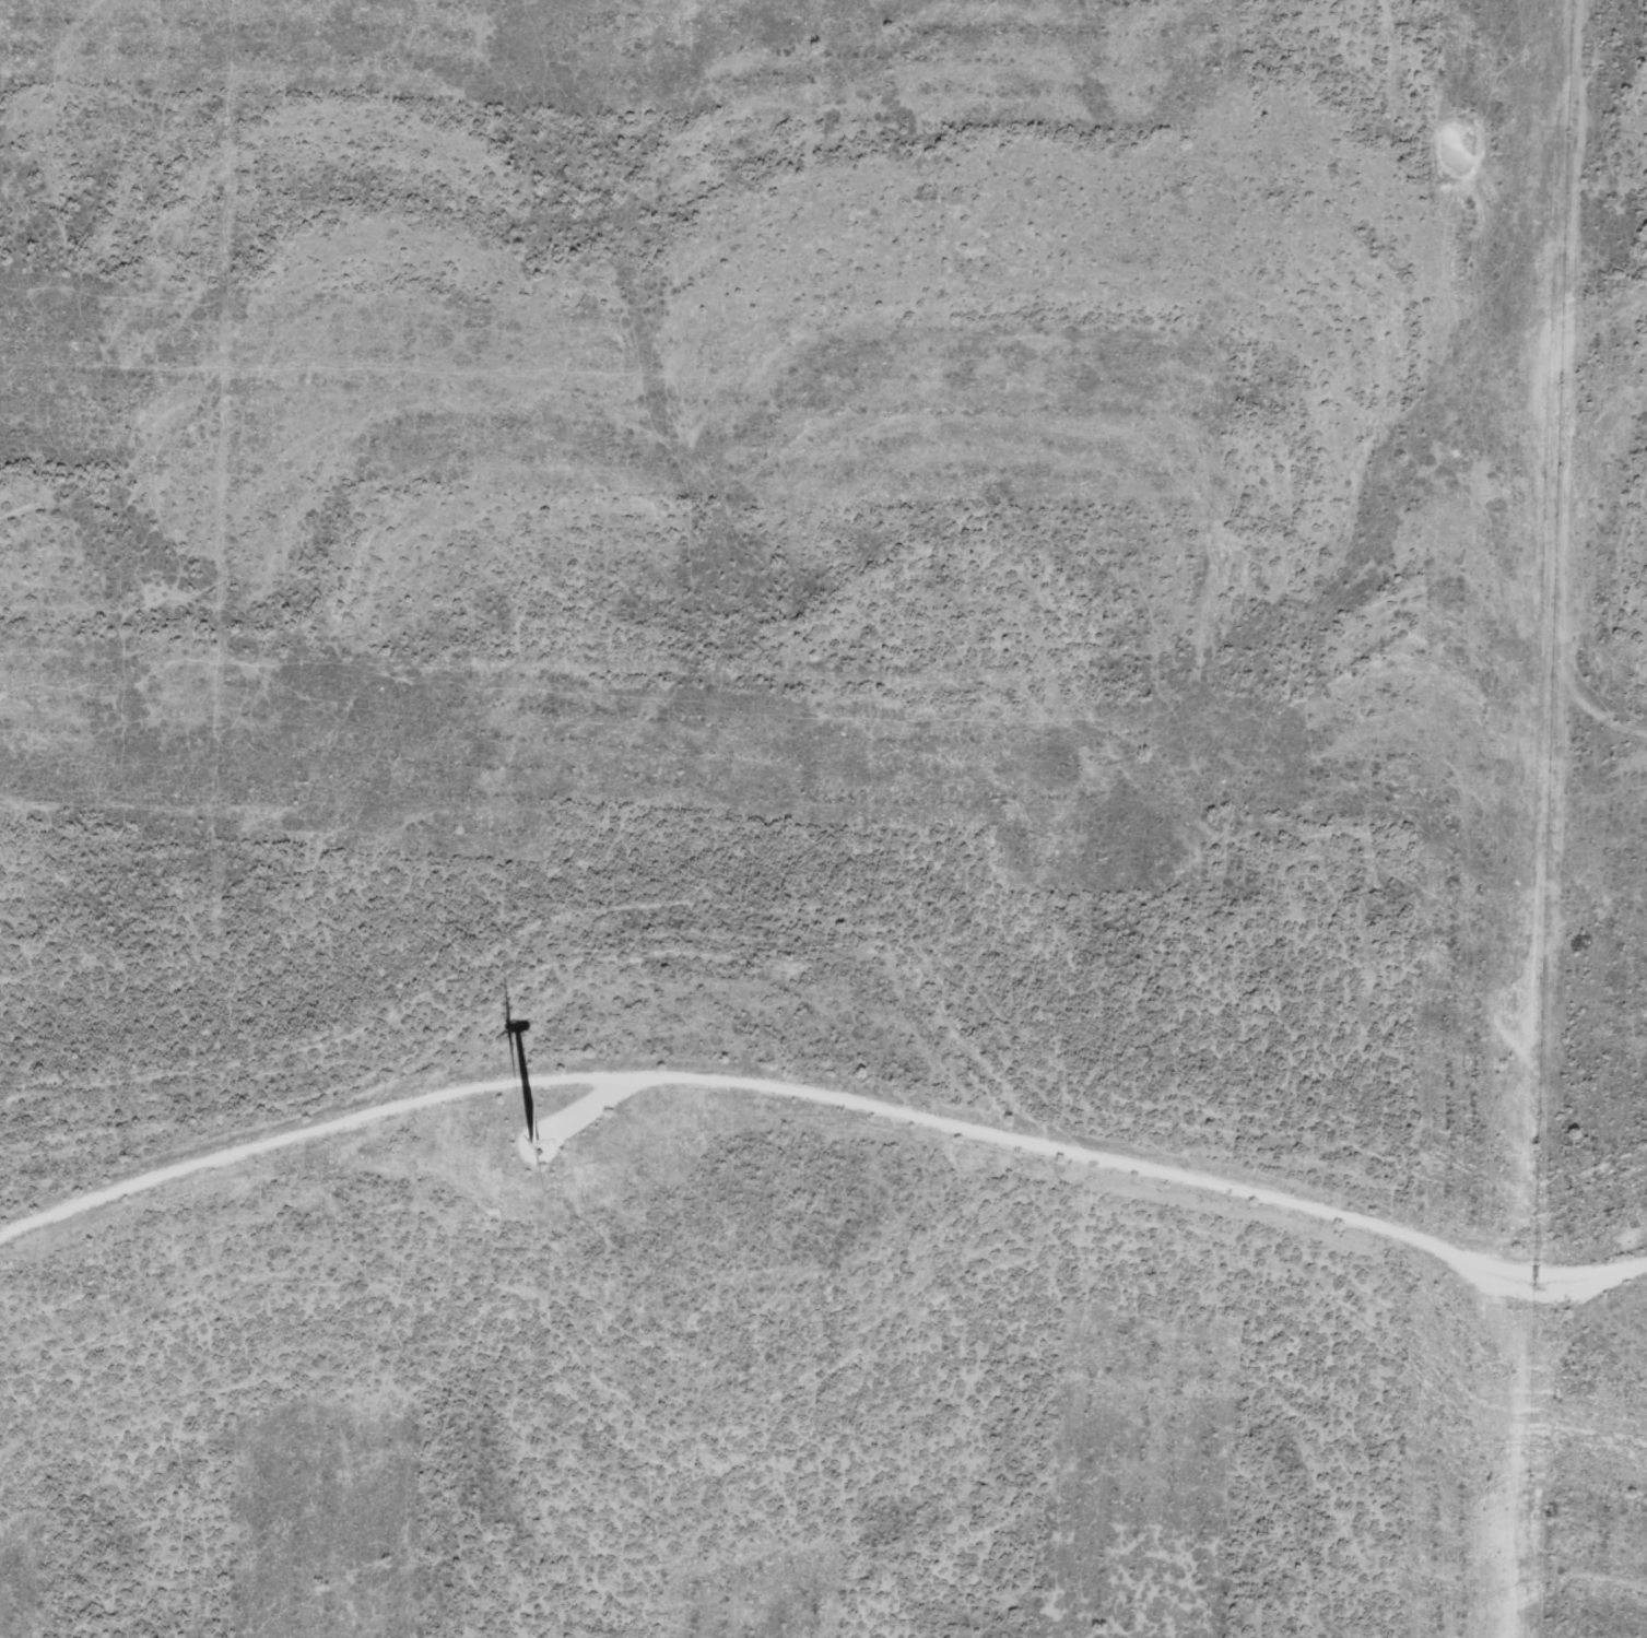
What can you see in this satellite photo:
wind turbine: (532, 1141)

